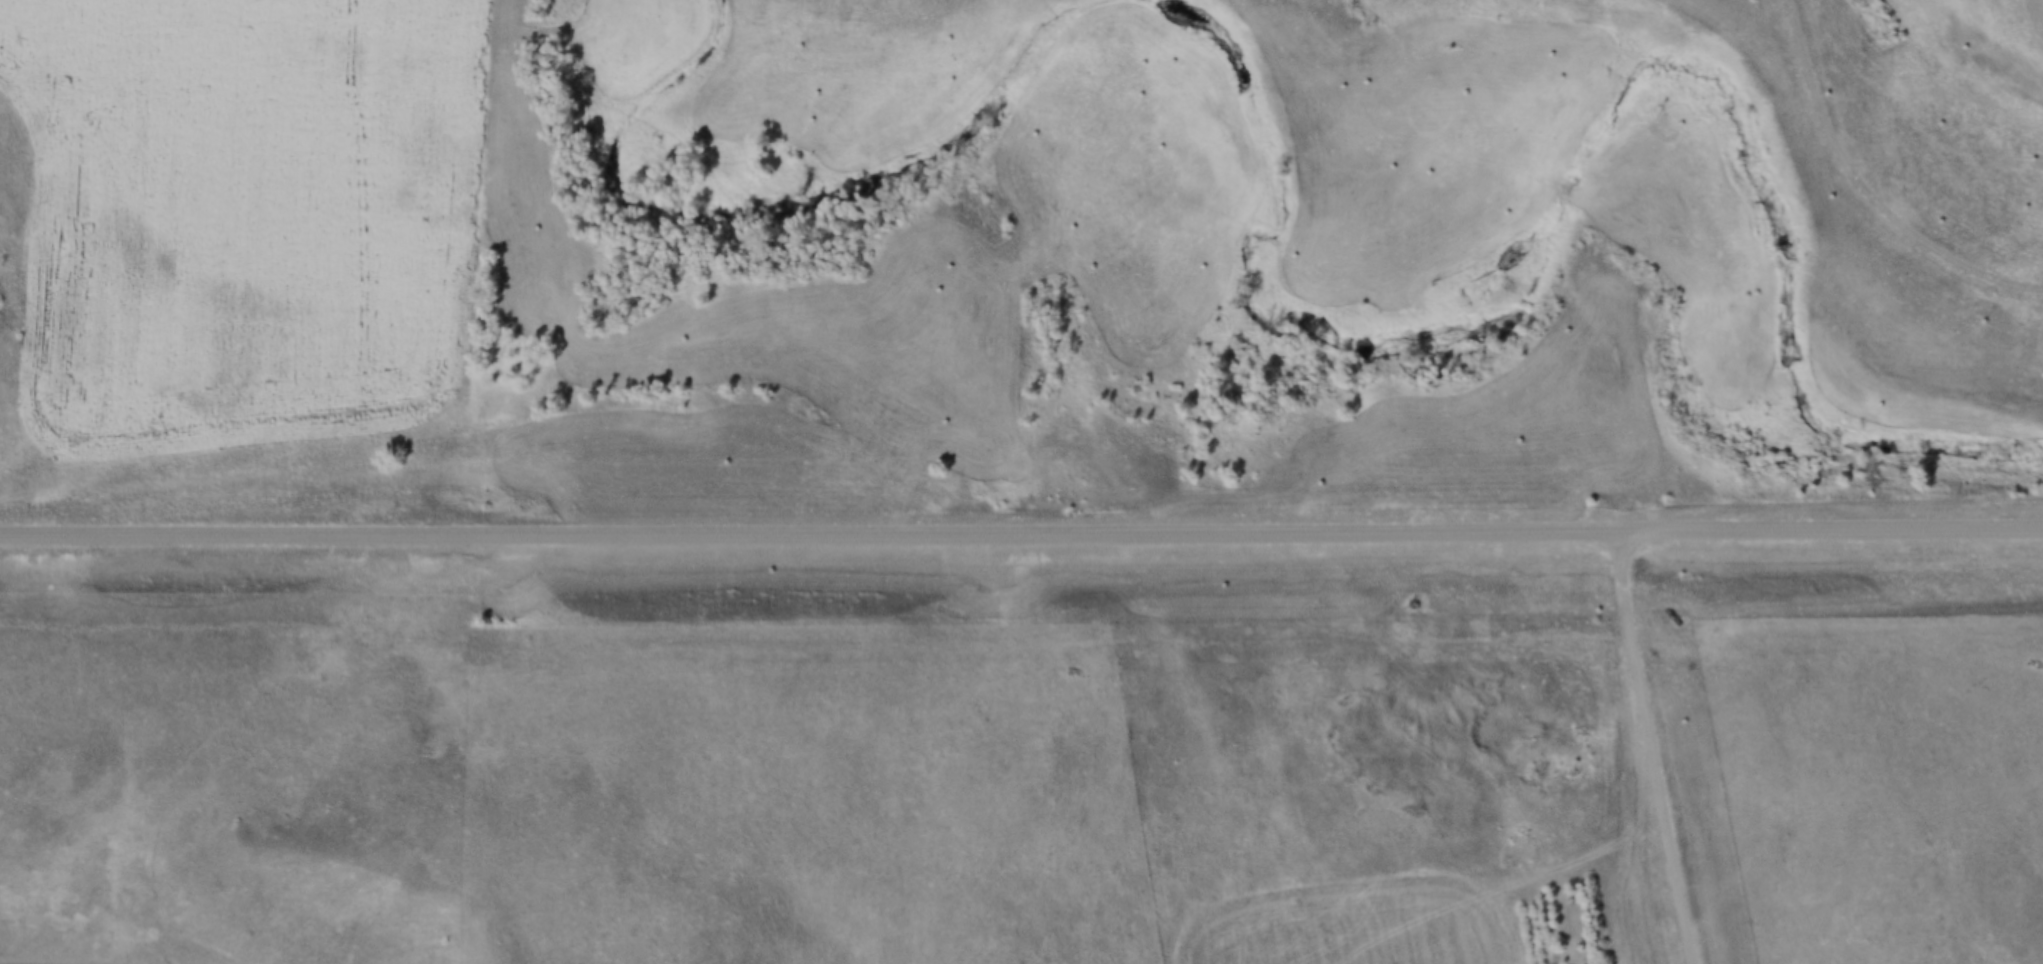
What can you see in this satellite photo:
road: (1865, 190)
road: (121, 267)
road: (1021, 526)
road: (1654, 743)

